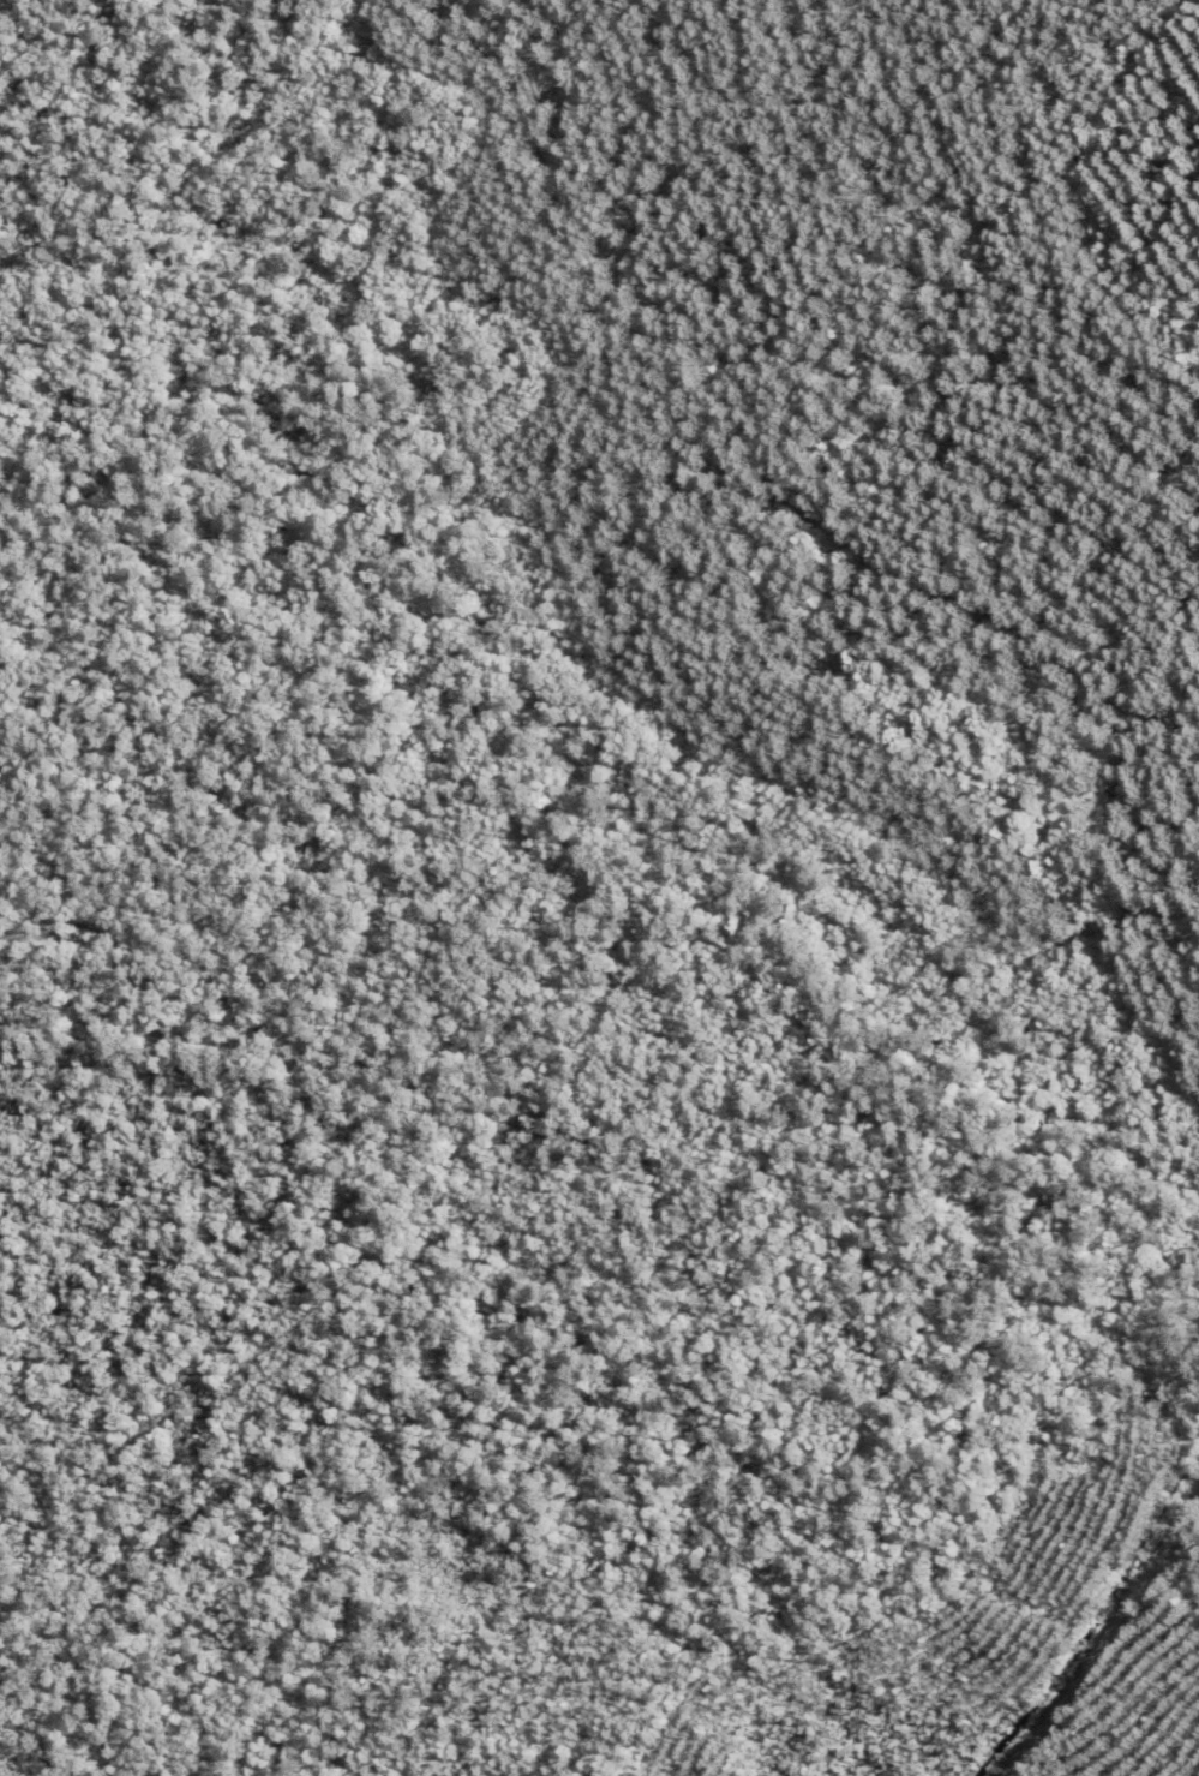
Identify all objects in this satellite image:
road: (1107, 1639)

